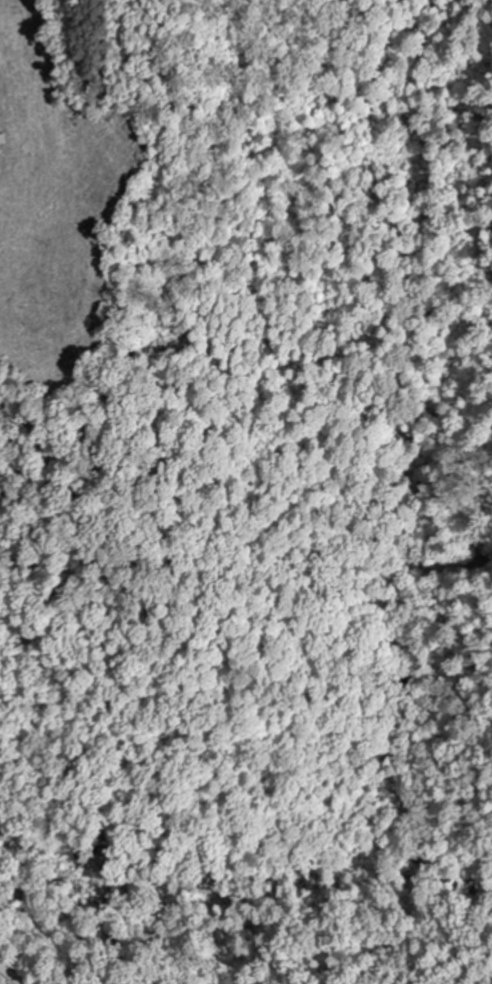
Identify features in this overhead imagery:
road: (16, 972)

